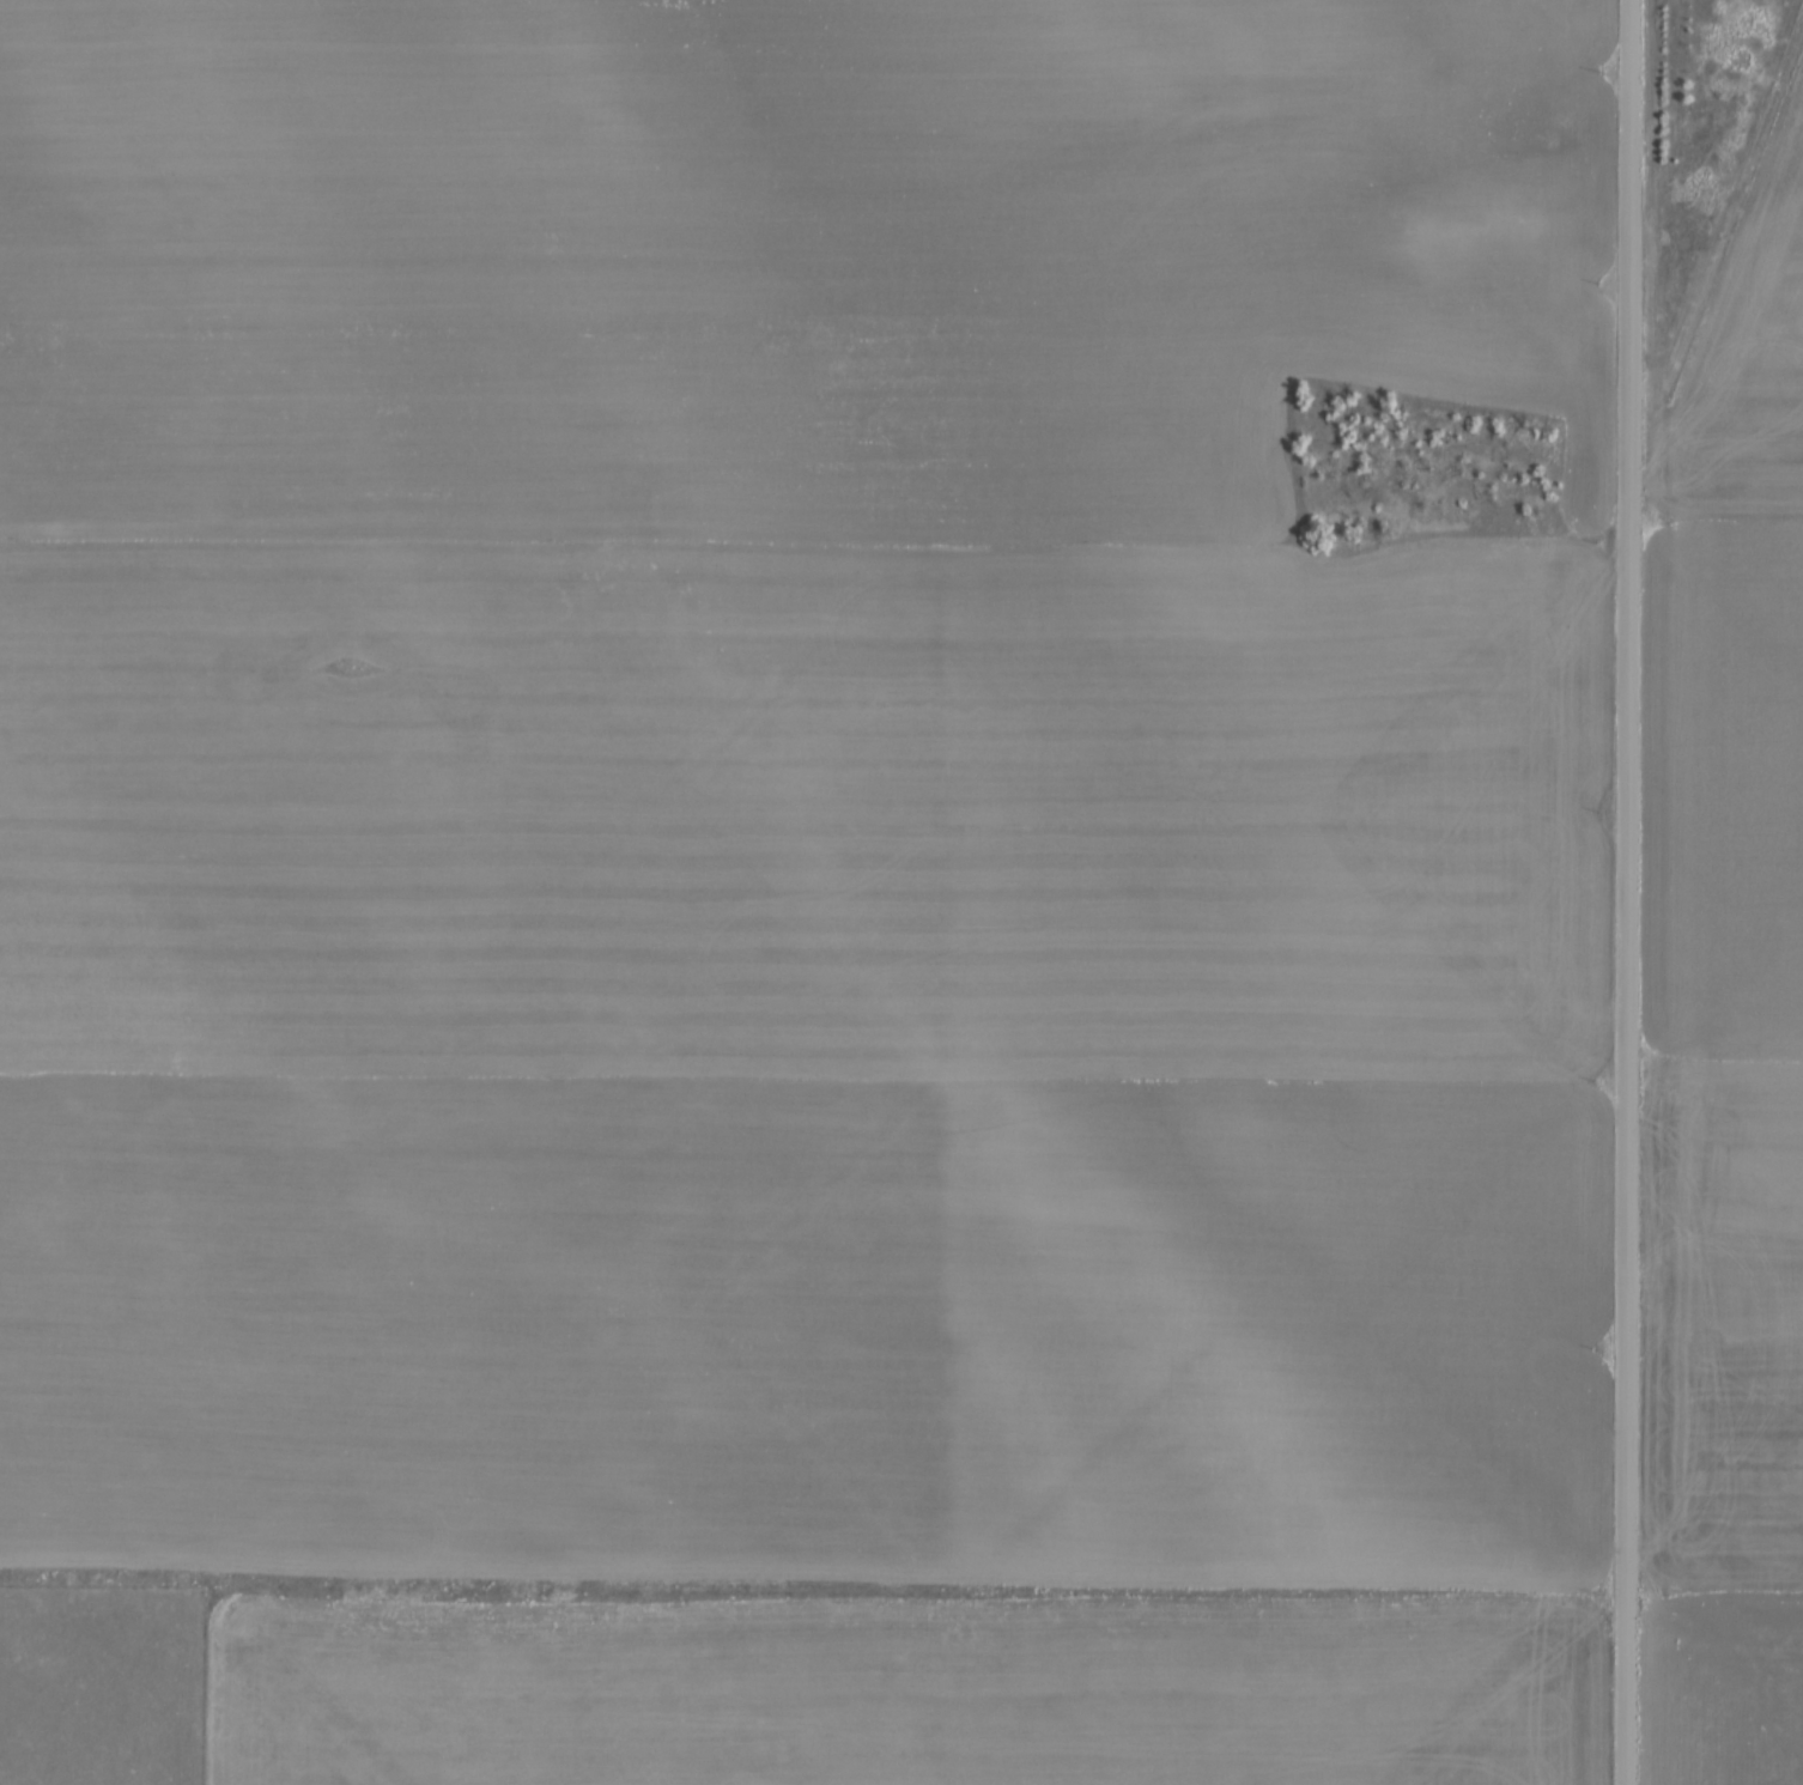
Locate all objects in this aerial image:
crop: (1074, 656)
road: (1627, 892)
crop: (1737, 924)

